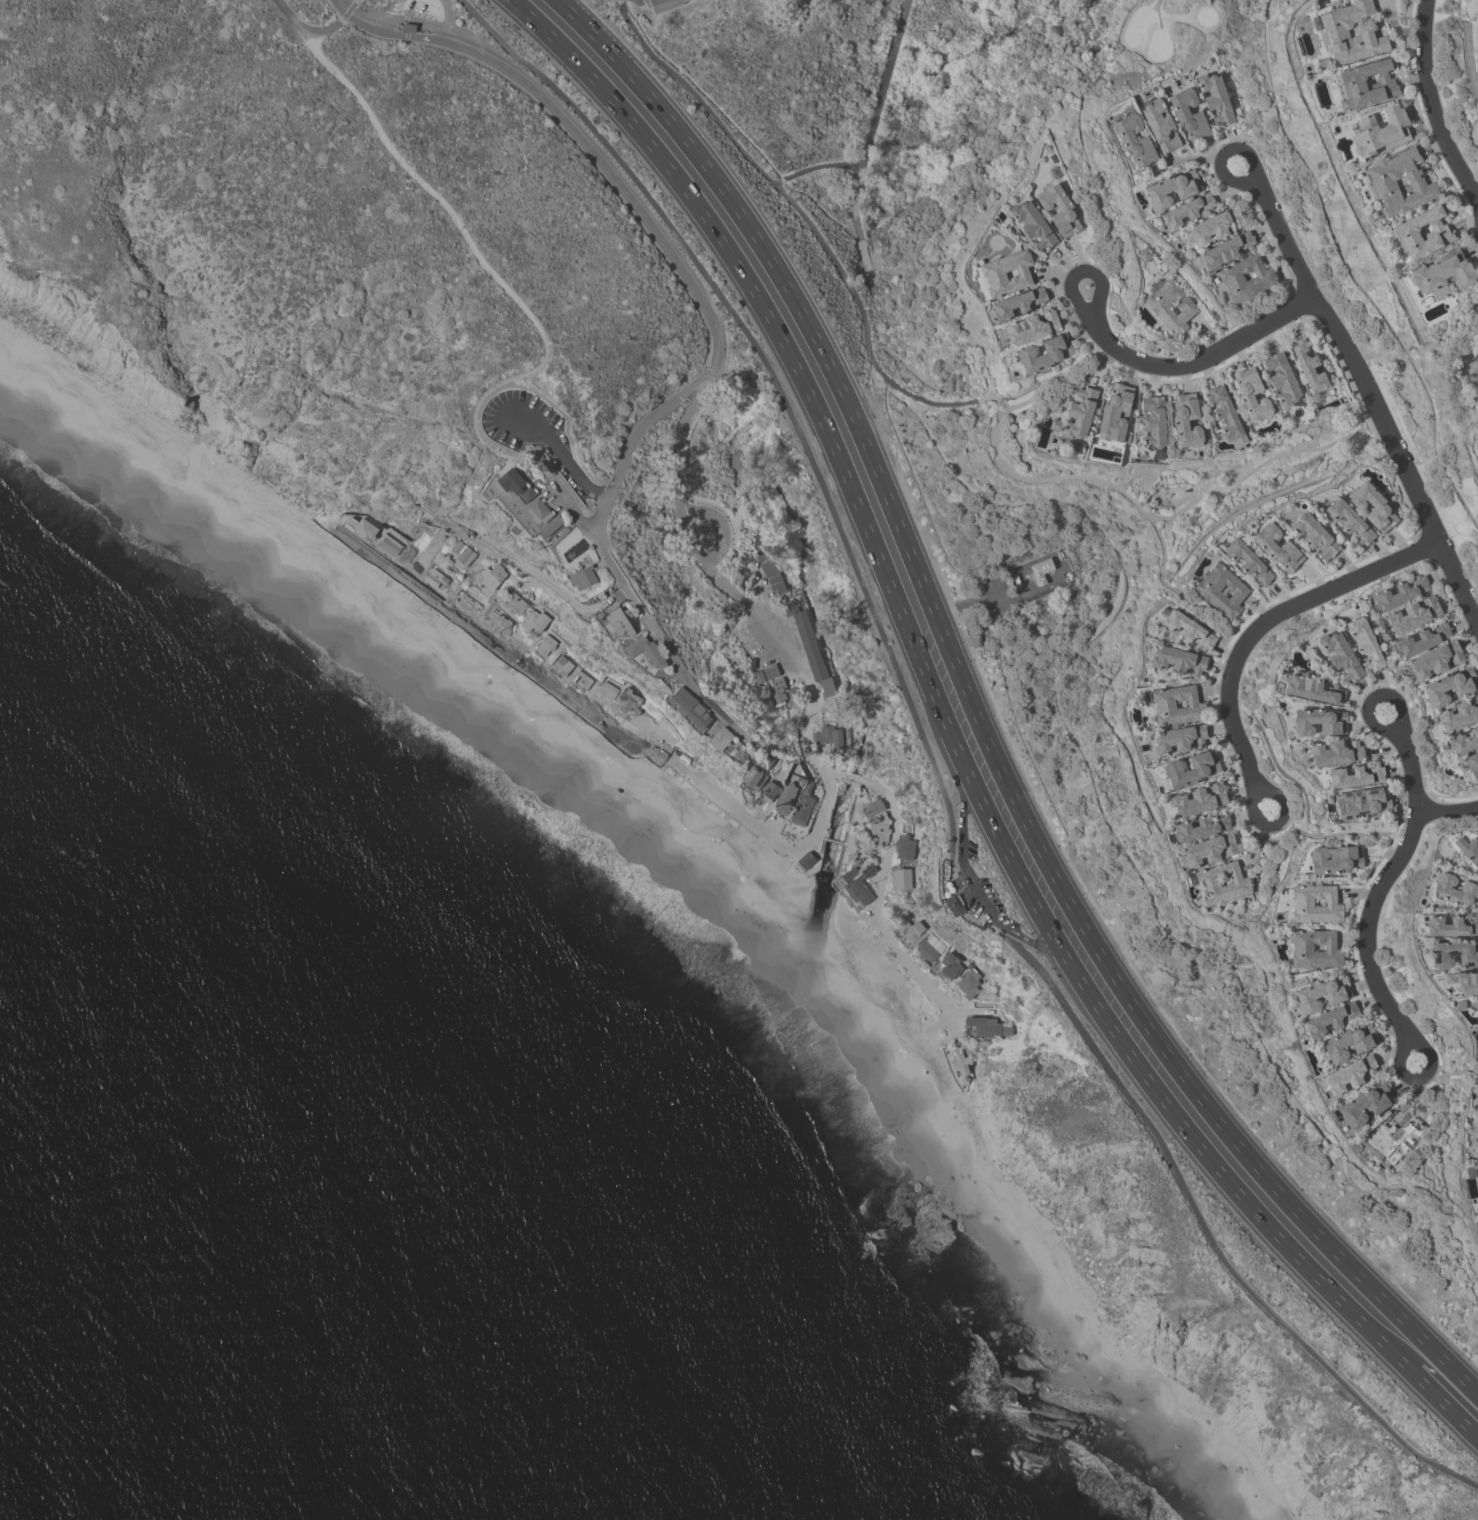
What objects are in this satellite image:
road: (355, 0)
building: (663, 4)
road: (343, 8)
road: (394, 8)
road: (346, 11)
road: (404, 18)
road: (447, 18)
road: (302, 28)
building: (409, 28)
road: (470, 31)
building: (1351, 32)
park: (1141, 33)
road: (399, 34)
building: (1365, 84)
building: (1215, 98)
road: (1438, 100)
building: (1188, 114)
building: (1158, 124)
building: (1379, 131)
road: (587, 134)
building: (1134, 139)
road: (868, 141)
road: (816, 167)
building: (1400, 182)
building: (1171, 188)
building: (1058, 209)
building: (1186, 211)
building: (1032, 224)
building: (1216, 225)
building: (1422, 233)
building: (1226, 250)
building: (1143, 254)
road: (680, 266)
road: (485, 267)
building: (1006, 273)
building: (1441, 273)
building: (1245, 277)
road: (848, 279)
building: (1017, 303)
building: (1170, 306)
building: (1031, 327)
building: (1044, 353)
road: (1188, 363)
building: (1308, 366)
road: (739, 375)
building: (1281, 378)
road: (1366, 385)
building: (1251, 394)
road: (783, 404)
building: (1114, 411)
building: (1080, 413)
building: (1226, 415)
building: (1187, 421)
parking lot: (523, 422)
building: (1152, 422)
building: (1055, 424)
road: (1361, 428)
road: (629, 441)
road: (559, 452)
road: (872, 459)
road: (504, 463)
road: (737, 466)
road: (1253, 470)
building: (512, 482)
building: (528, 495)
road: (1127, 495)
road: (538, 497)
road: (700, 500)
road: (508, 501)
building: (1372, 506)
building: (540, 509)
building: (1349, 520)
road: (724, 524)
building: (551, 525)
building: (361, 528)
building: (1313, 535)
building: (388, 545)
road: (578, 545)
parking lot: (574, 547)
building: (1276, 547)
building: (459, 554)
road: (516, 559)
building: (1247, 561)
building: (768, 570)
building: (1040, 570)
building: (491, 576)
building: (584, 577)
building: (434, 578)
building: (1221, 590)
building: (1400, 592)
road: (638, 601)
building: (513, 603)
road: (610, 608)
building: (1413, 615)
road: (761, 618)
building: (533, 620)
road: (1266, 620)
building: (619, 622)
building: (497, 623)
building: (1187, 629)
building: (807, 639)
building: (1422, 639)
parking lot: (750, 640)
building: (1364, 642)
building: (543, 646)
building: (646, 651)
building: (1341, 655)
building: (1177, 660)
building: (1435, 660)
building: (559, 666)
building: (771, 671)
building: (758, 676)
building: (580, 679)
building: (778, 684)
building: (1449, 686)
building: (828, 687)
building: (1312, 688)
building: (606, 690)
road: (1372, 695)
building: (787, 698)
building: (628, 699)
building: (1176, 705)
building: (691, 707)
building: (842, 708)
building: (1458, 715)
building: (1318, 721)
building: (829, 736)
road: (803, 737)
building: (722, 738)
building: (1178, 738)
building: (1463, 741)
road: (954, 742)
building: (1334, 752)
road: (943, 756)
road: (923, 759)
building: (1472, 765)
building: (1191, 768)
building: (1354, 776)
building: (752, 777)
road: (824, 777)
road: (849, 777)
road: (867, 779)
road: (868, 782)
building: (808, 787)
building: (771, 790)
road: (731, 797)
building: (785, 798)
building: (1198, 800)
building: (1361, 802)
building: (875, 806)
building: (802, 809)
road: (1447, 810)
road: (1275, 821)
building: (1200, 826)
building: (795, 828)
building: (881, 829)
road: (1342, 833)
road: (849, 839)
road: (832, 843)
building: (905, 847)
road: (819, 848)
building: (1209, 849)
road: (852, 850)
parking lot: (970, 850)
building: (1468, 850)
road: (961, 853)
building: (1334, 859)
building: (806, 860)
road: (883, 860)
building: (869, 871)
building: (849, 874)
building: (901, 879)
building: (1221, 883)
road: (1379, 884)
building: (859, 890)
building: (1455, 890)
parking lot: (965, 895)
parking lot: (995, 902)
road: (981, 904)
building: (1315, 904)
building: (953, 905)
road: (962, 906)
road: (873, 913)
building: (899, 918)
building: (1451, 926)
road: (1011, 931)
building: (915, 932)
road: (1023, 938)
building: (1314, 949)
building: (927, 951)
building: (1453, 954)
road: (1052, 957)
building: (950, 965)
building: (969, 983)
building: (1466, 983)
building: (1321, 994)
building: (1328, 1019)
building: (988, 1027)
building: (1349, 1042)
building: (961, 1063)
building: (1349, 1074)
road: (1420, 1076)
building: (965, 1080)
building: (1477, 1099)
building: (1364, 1105)
building: (1477, 1118)
building: (1477, 1123)
building: (1394, 1136)
road: (1262, 1172)
road: (1208, 1239)
road: (1458, 1374)

